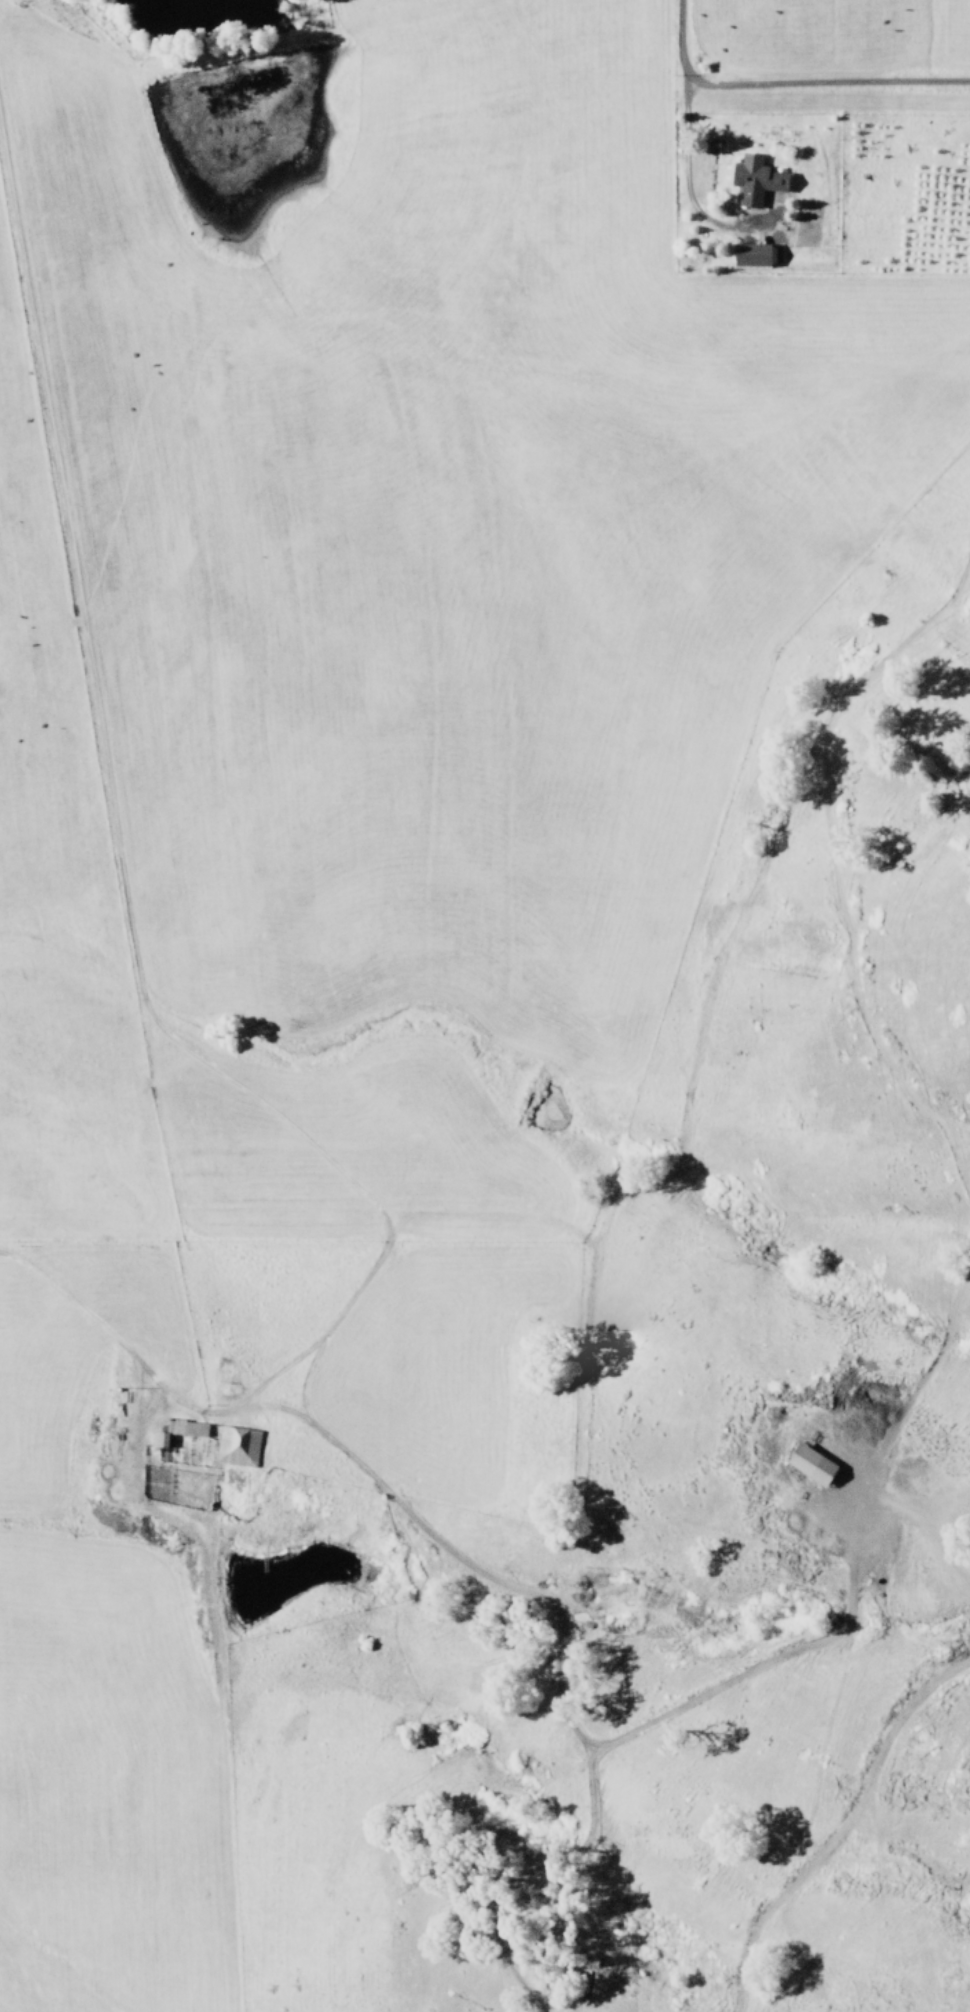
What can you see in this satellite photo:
road: (779, 88)
road: (679, 177)
building: (756, 180)
building: (753, 254)
building: (177, 1431)
building: (236, 1446)
building: (812, 1464)

